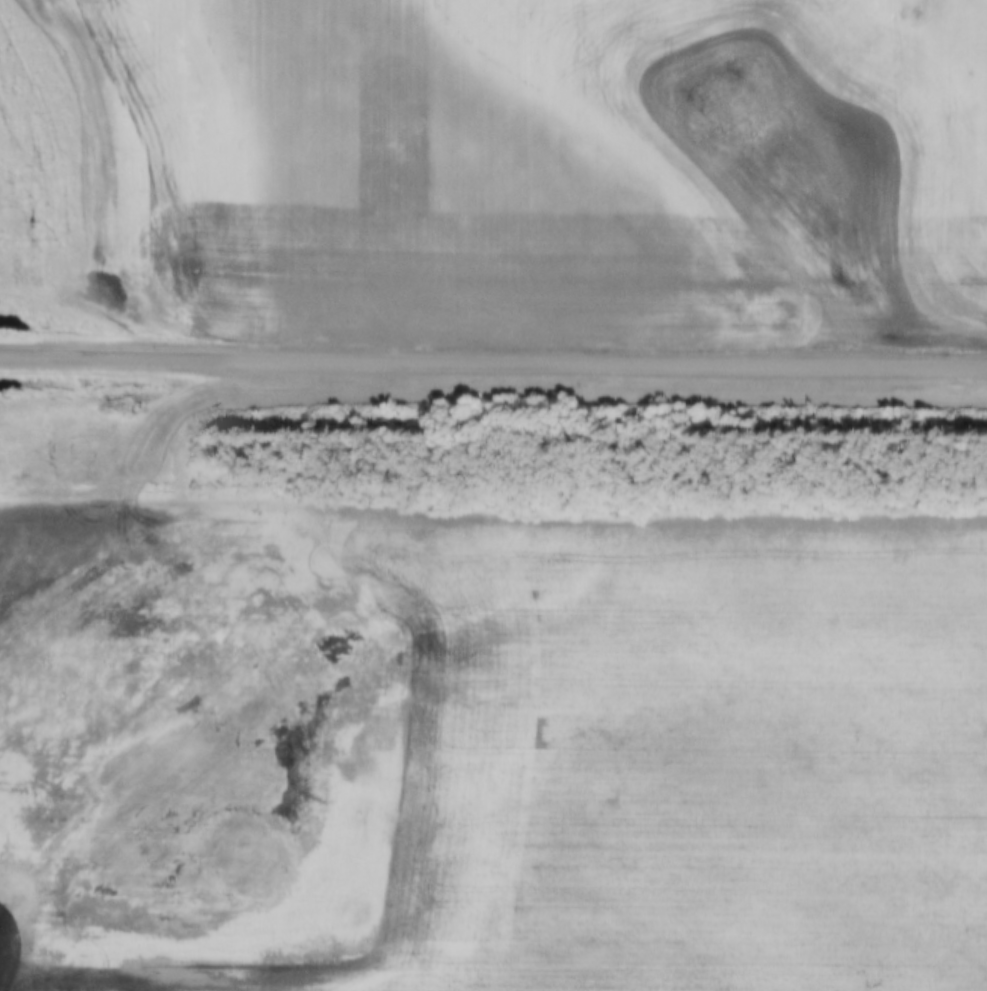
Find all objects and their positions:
road: (493, 361)

